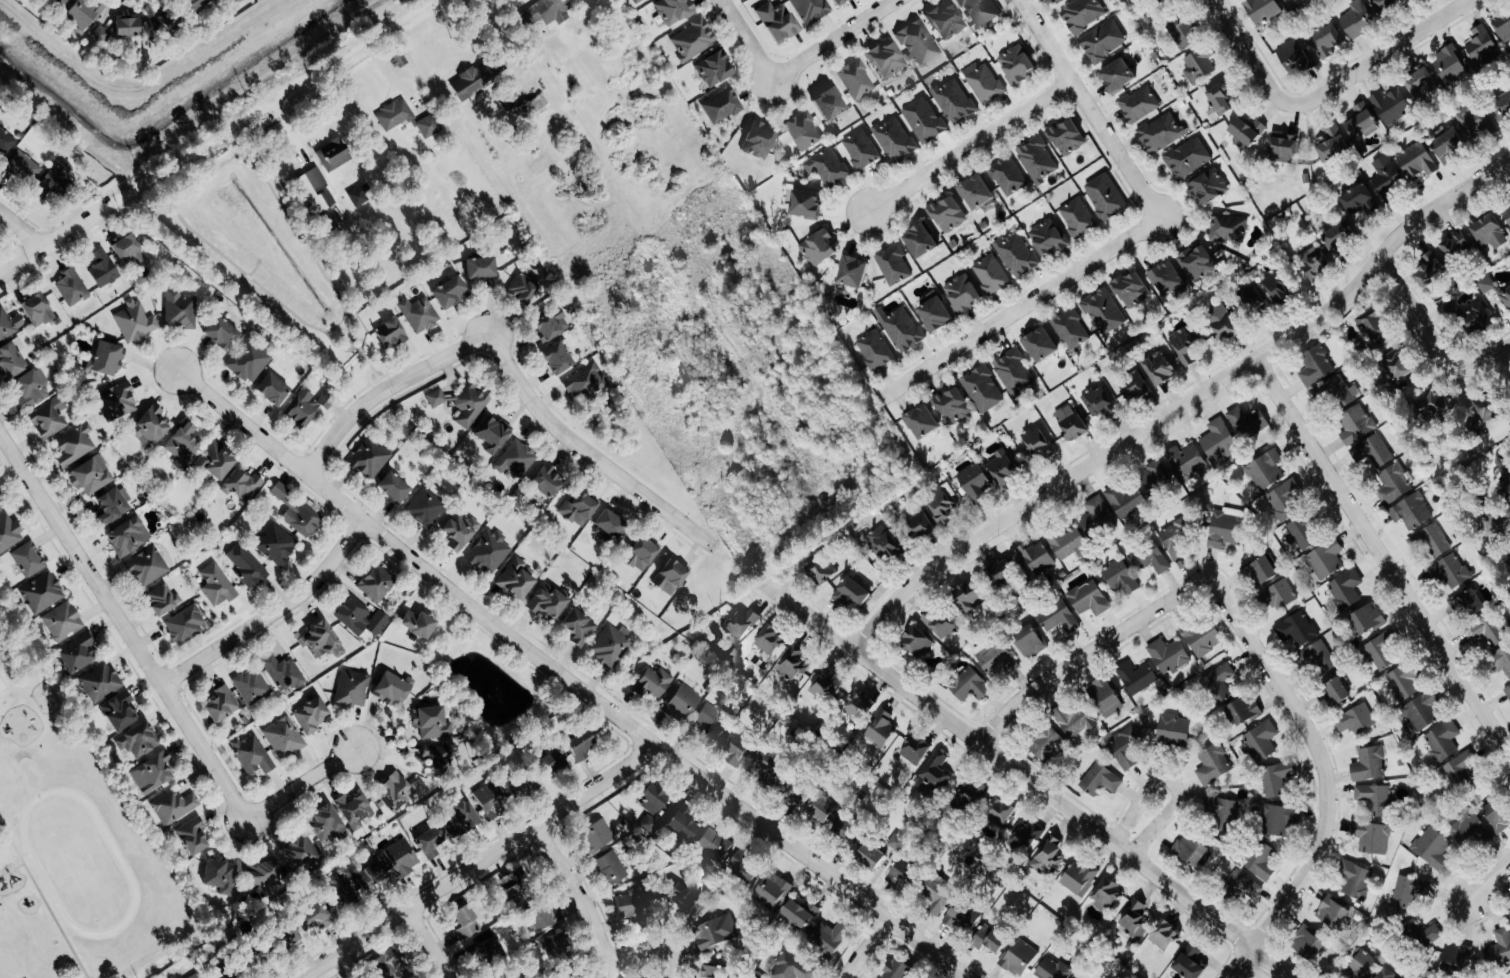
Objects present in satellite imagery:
building: (1053, 0)
building: (1169, 0)
building: (1286, 0)
building: (236, 1)
building: (636, 1)
building: (838, 2)
building: (56, 3)
building: (194, 4)
building: (1386, 5)
building: (673, 10)
building: (810, 10)
building: (1262, 10)
building: (980, 11)
building: (546, 13)
building: (82, 14)
building: (1082, 14)
building: (1357, 19)
building: (946, 21)
building: (776, 22)
building: (158, 23)
building: (125, 27)
building: (1503, 27)
building: (1183, 33)
building: (99, 34)
building: (692, 40)
road: (746, 40)
road: (833, 40)
building: (1325, 40)
building: (1102, 41)
building: (918, 42)
building: (1482, 47)
road: (1382, 57)
road: (1248, 58)
building: (1294, 58)
building: (886, 59)
building: (1016, 65)
building: (1449, 65)
building: (1199, 66)
building: (713, 69)
building: (1116, 75)
building: (855, 79)
building: (473, 81)
building: (985, 84)
building: (1421, 84)
building: (954, 101)
road: (270, 102)
building: (1218, 102)
building: (522, 104)
building: (828, 104)
building: (1139, 105)
building: (1391, 105)
building: (721, 106)
building: (1501, 107)
road: (1087, 109)
building: (394, 115)
building: (924, 120)
building: (1475, 122)
building: (1361, 123)
building: (427, 126)
building: (1247, 130)
building: (803, 131)
building: (1161, 133)
building: (2, 134)
building: (1066, 137)
building: (894, 139)
building: (757, 140)
building: (1332, 144)
building: (1448, 147)
road: (967, 148)
building: (1283, 148)
building: (860, 149)
building: (333, 155)
building: (1187, 158)
building: (1036, 160)
building: (1415, 160)
building: (827, 167)
building: (21, 168)
building: (1007, 176)
building: (1386, 178)
building: (53, 180)
building: (1209, 187)
building: (314, 191)
building: (975, 193)
building: (359, 195)
building: (1105, 197)
building: (1360, 201)
building: (805, 203)
building: (1507, 214)
building: (947, 215)
building: (1077, 218)
building: (1227, 228)
road: (22, 229)
building: (1489, 232)
building: (1339, 236)
building: (1047, 238)
road: (55, 239)
building: (919, 241)
building: (1455, 246)
building: (123, 248)
building: (818, 248)
building: (1016, 255)
building: (1315, 262)
building: (1197, 263)
building: (893, 265)
building: (102, 269)
building: (478, 269)
building: (1430, 270)
building: (851, 272)
building: (991, 275)
building: (1165, 279)
building: (1486, 285)
building: (70, 287)
building: (522, 287)
building: (1276, 288)
building: (1130, 289)
building: (448, 293)
building: (961, 294)
building: (1502, 296)
building: (1253, 300)
road: (1019, 308)
building: (1447, 309)
building: (36, 310)
building: (1103, 311)
building: (933, 313)
building: (419, 314)
building: (1477, 319)
building: (134, 322)
building: (1221, 322)
building: (9, 324)
building: (549, 325)
building: (1374, 326)
building: (900, 328)
building: (1070, 330)
building: (219, 334)
building: (389, 334)
road: (1430, 341)
building: (1039, 345)
building: (1183, 346)
building: (874, 350)
building: (555, 358)
building: (107, 360)
building: (248, 362)
building: (10, 363)
building: (1398, 365)
building: (1316, 366)
building: (1158, 369)
building: (1014, 372)
building: (584, 382)
building: (31, 387)
building: (1135, 387)
road: (384, 389)
building: (270, 390)
building: (982, 390)
building: (1409, 390)
building: (1336, 393)
building: (435, 398)
building: (117, 400)
building: (1099, 402)
building: (952, 405)
road: (1181, 405)
building: (1438, 405)
building: (469, 406)
building: (306, 407)
building: (1486, 408)
building: (48, 418)
building: (921, 422)
building: (1070, 422)
building: (1247, 423)
building: (1356, 425)
building: (149, 426)
building: (489, 435)
building: (184, 442)
building: (1219, 442)
building: (1038, 444)
building: (74, 445)
building: (1372, 452)
road: (585, 453)
building: (515, 457)
building: (369, 459)
building: (214, 462)
building: (1185, 462)
building: (1002, 470)
building: (1265, 470)
building: (90, 475)
building: (1156, 475)
building: (546, 481)
building: (975, 483)
building: (1393, 484)
building: (240, 485)
building: (392, 488)
building: (279, 491)
building: (1505, 491)
building: (1126, 500)
building: (1285, 500)
building: (941, 504)
building: (111, 506)
building: (425, 508)
building: (577, 509)
building: (1411, 512)
building: (1097, 518)
building: (301, 520)
building: (608, 523)
building: (920, 525)
building: (1496, 527)
building: (459, 531)
building: (8, 533)
building: (1303, 533)
building: (127, 537)
building: (1177, 537)
building: (1430, 541)
building: (276, 544)
building: (882, 544)
building: (1069, 544)
building: (488, 552)
building: (640, 555)
building: (1149, 558)
road: (413, 559)
building: (1036, 559)
road: (1381, 559)
building: (27, 560)
building: (1509, 560)
building: (1325, 561)
building: (246, 566)
building: (146, 567)
building: (822, 570)
building: (1262, 571)
building: (1453, 571)
building: (999, 574)
building: (669, 577)
building: (1120, 578)
building: (515, 579)
building: (376, 583)
building: (216, 585)
building: (1345, 589)
building: (42, 592)
building: (851, 593)
building: (1277, 596)
building: (1088, 599)
building: (161, 600)
building: (546, 602)
building: (1467, 606)
road: (270, 614)
building: (359, 617)
building: (1057, 617)
building: (1368, 620)
building: (61, 621)
building: (741, 623)
building: (185, 624)
building: (416, 625)
building: (937, 625)
building: (577, 627)
road: (122, 628)
building: (1297, 629)
building: (1486, 631)
building: (1204, 638)
building: (319, 641)
building: (769, 641)
building: (1029, 642)
building: (915, 643)
building: (609, 646)
building: (1382, 650)
building: (77, 653)
road: (1087, 654)
building: (1168, 656)
building: (1317, 657)
building: (996, 661)
building: (1501, 661)
building: (792, 664)
building: (282, 672)
building: (1136, 677)
building: (652, 682)
building: (1220, 682)
building: (1404, 682)
building: (98, 684)
park: (492, 686)
building: (970, 686)
building: (252, 687)
building: (1, 688)
building: (824, 688)
building: (350, 689)
building: (391, 689)
building: (1337, 689)
building: (1507, 691)
building: (1104, 697)
building: (681, 701)
building: (221, 705)
building: (857, 707)
building: (1244, 708)
building: (1422, 711)
building: (118, 712)
building: (310, 716)
building: (1355, 719)
building: (1074, 720)
building: (710, 722)
building: (430, 723)
building: (880, 729)
building: (1173, 729)
building: (284, 739)
building: (140, 740)
building: (1262, 740)
building: (1443, 740)
building: (1046, 744)
building: (578, 745)
building: (736, 745)
building: (1127, 747)
building: (915, 750)
building: (251, 755)
road: (1318, 758)
building: (767, 760)
building: (436, 762)
building: (551, 762)
building: (1213, 764)
building: (1368, 764)
building: (1460, 767)
building: (151, 773)
building: (934, 773)
building: (1276, 778)
building: (1100, 779)
road: (1027, 780)
road: (302, 782)
road: (1168, 784)
building: (513, 785)
building: (392, 791)
building: (973, 794)
building: (795, 795)
building: (652, 798)
building: (1374, 798)
building: (489, 802)
building: (173, 807)
building: (820, 808)
building: (353, 811)
building: (998, 811)
building: (1226, 814)
building: (1496, 816)
building: (459, 818)
building: (1279, 820)
building: (683, 823)
building: (324, 825)
building: (843, 830)
building: (1469, 831)
building: (597, 833)
building: (192, 837)
building: (1024, 837)
building: (1373, 837)
building: (429, 840)
building: (896, 842)
building: (713, 845)
building: (1432, 847)
building: (1190, 849)
building: (303, 853)
building: (870, 854)
building: (1048, 856)
building: (400, 857)
building: (1260, 860)
road: (808, 861)
road: (478, 863)
building: (742, 867)
building: (610, 868)
building: (369, 874)
building: (902, 874)
building: (261, 875)
building: (219, 876)
building: (1079, 878)
building: (1355, 879)
road: (1484, 882)
building: (515, 885)
building: (1245, 885)
building: (337, 890)
building: (772, 890)
building: (1408, 891)
building: (1106, 893)
building: (936, 895)
building: (682, 897)
road: (578, 898)
building: (1509, 898)
road: (43, 900)
building: (633, 904)
building: (1332, 912)
building: (800, 913)
building: (542, 915)
building: (1508, 916)
building: (311, 917)
building: (961, 918)
building: (1135, 919)
building: (464, 922)
building: (715, 931)
building: (1424, 933)
building: (287, 935)
building: (1164, 935)
building: (829, 938)
building: (988, 939)
road: (425, 944)
building: (1308, 944)
building: (556, 945)
park: (20, 947)
road: (864, 948)
building: (1499, 948)
building: (486, 950)
road: (648, 954)
building: (1019, 957)
building: (1456, 957)
building: (1190, 961)
building: (388, 963)
road: (1239, 963)
building: (1363, 965)
building: (791, 968)
building: (896, 969)
building: (1052, 970)
building: (713, 971)
building: (222, 974)
building: (1386, 974)
building: (194, 976)
building: (570, 977)

